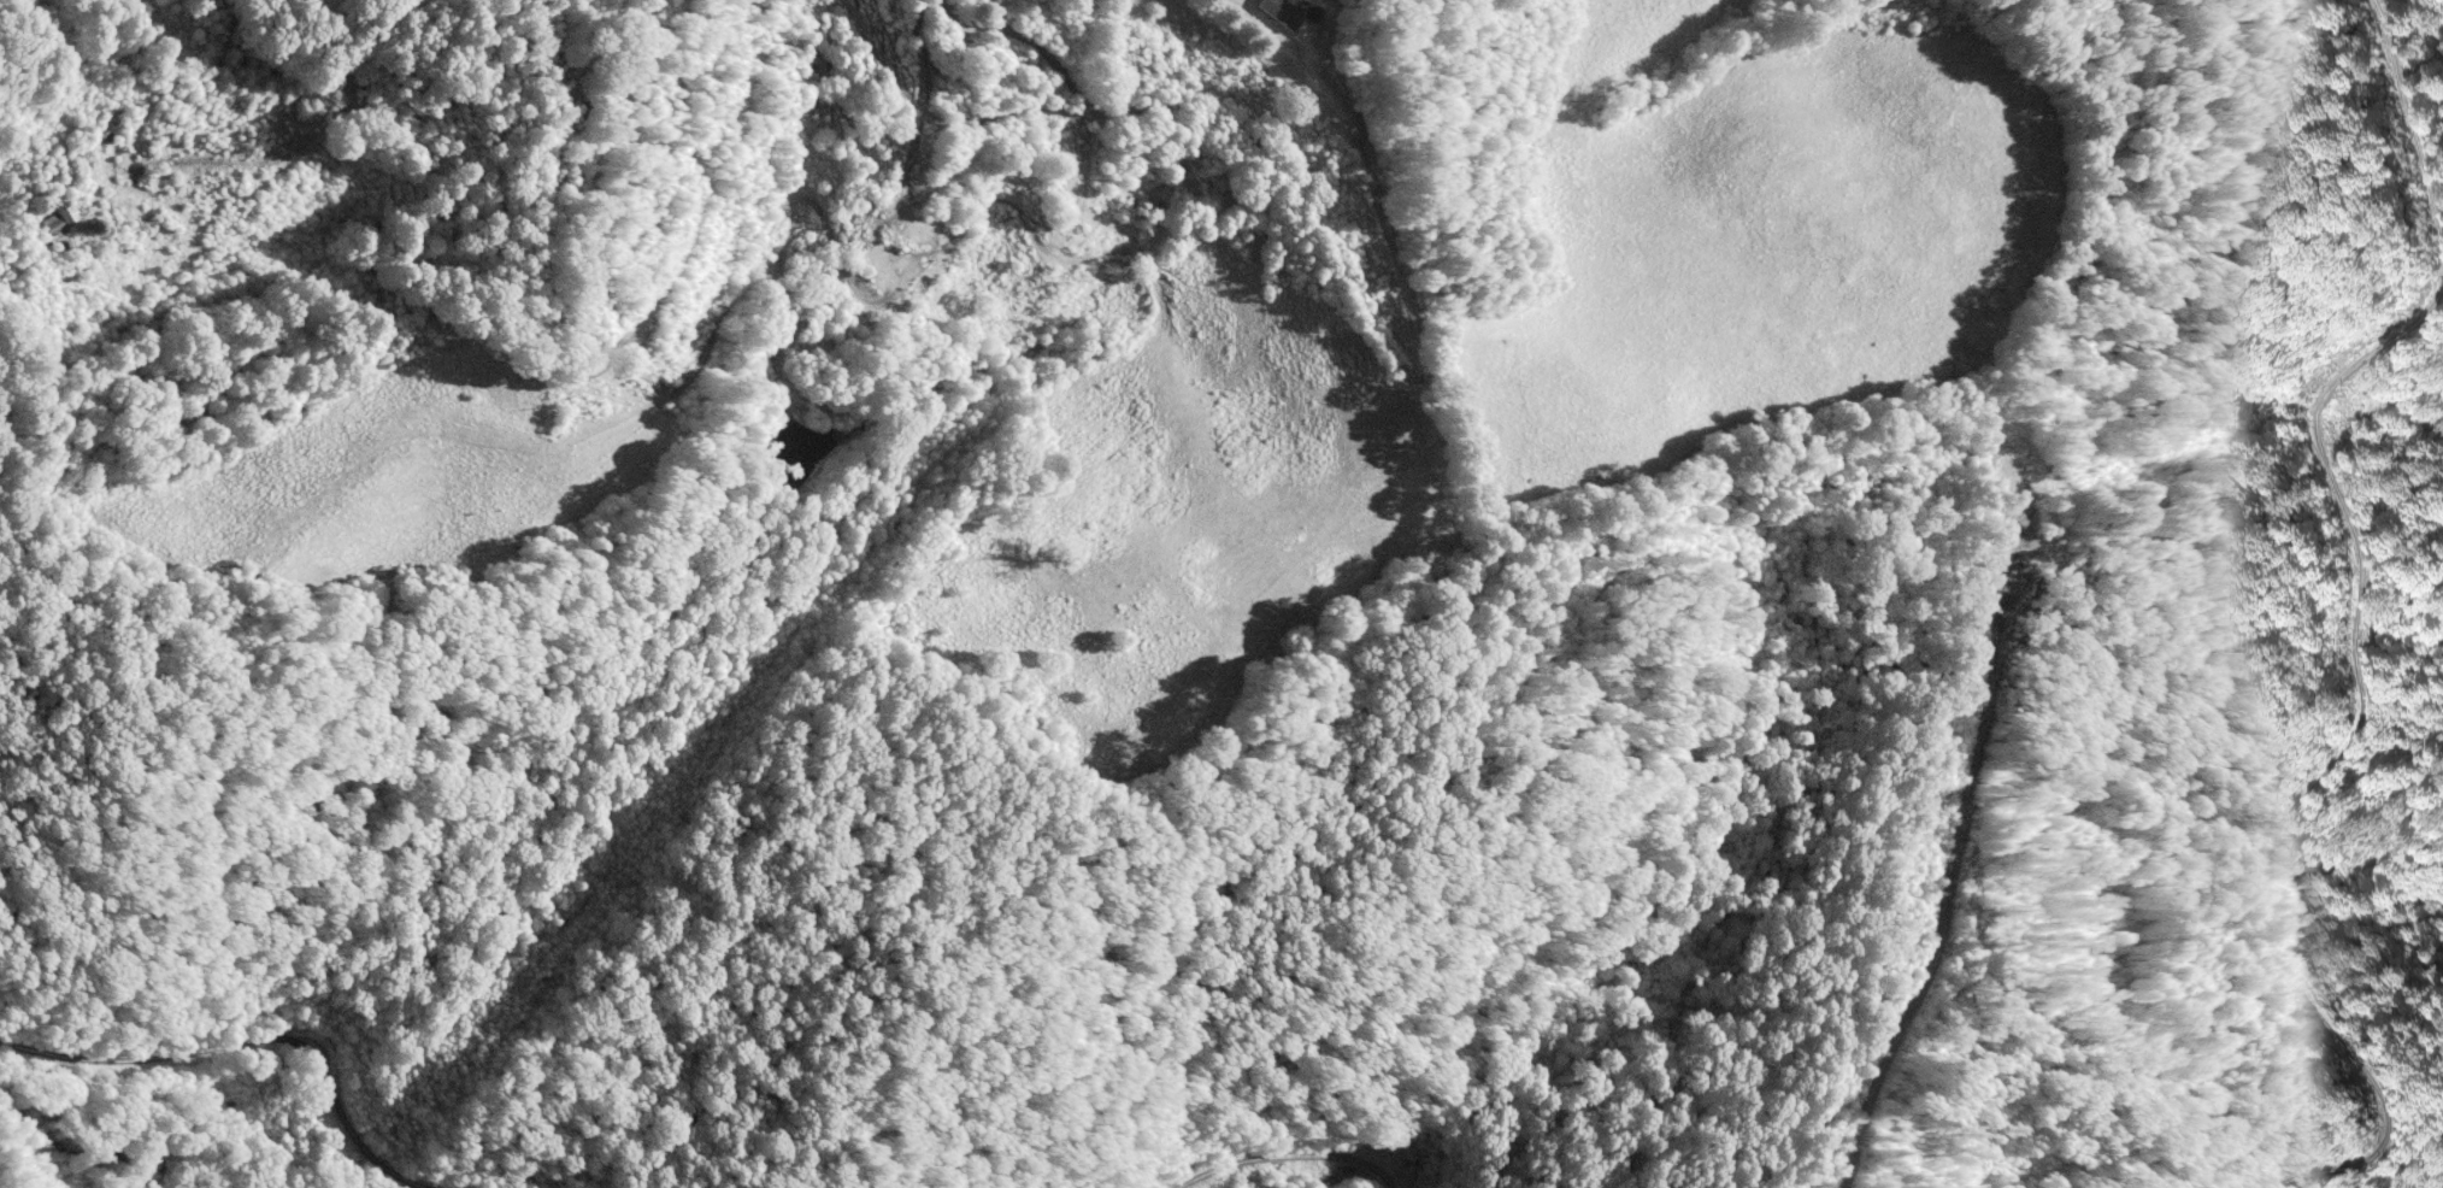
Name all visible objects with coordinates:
road: (905, 99)
road: (1195, 112)
road: (2412, 125)
road: (696, 182)
building: (55, 222)
road: (1095, 255)
road: (861, 294)
road: (2330, 771)
road: (247, 1045)
road: (1290, 1155)

